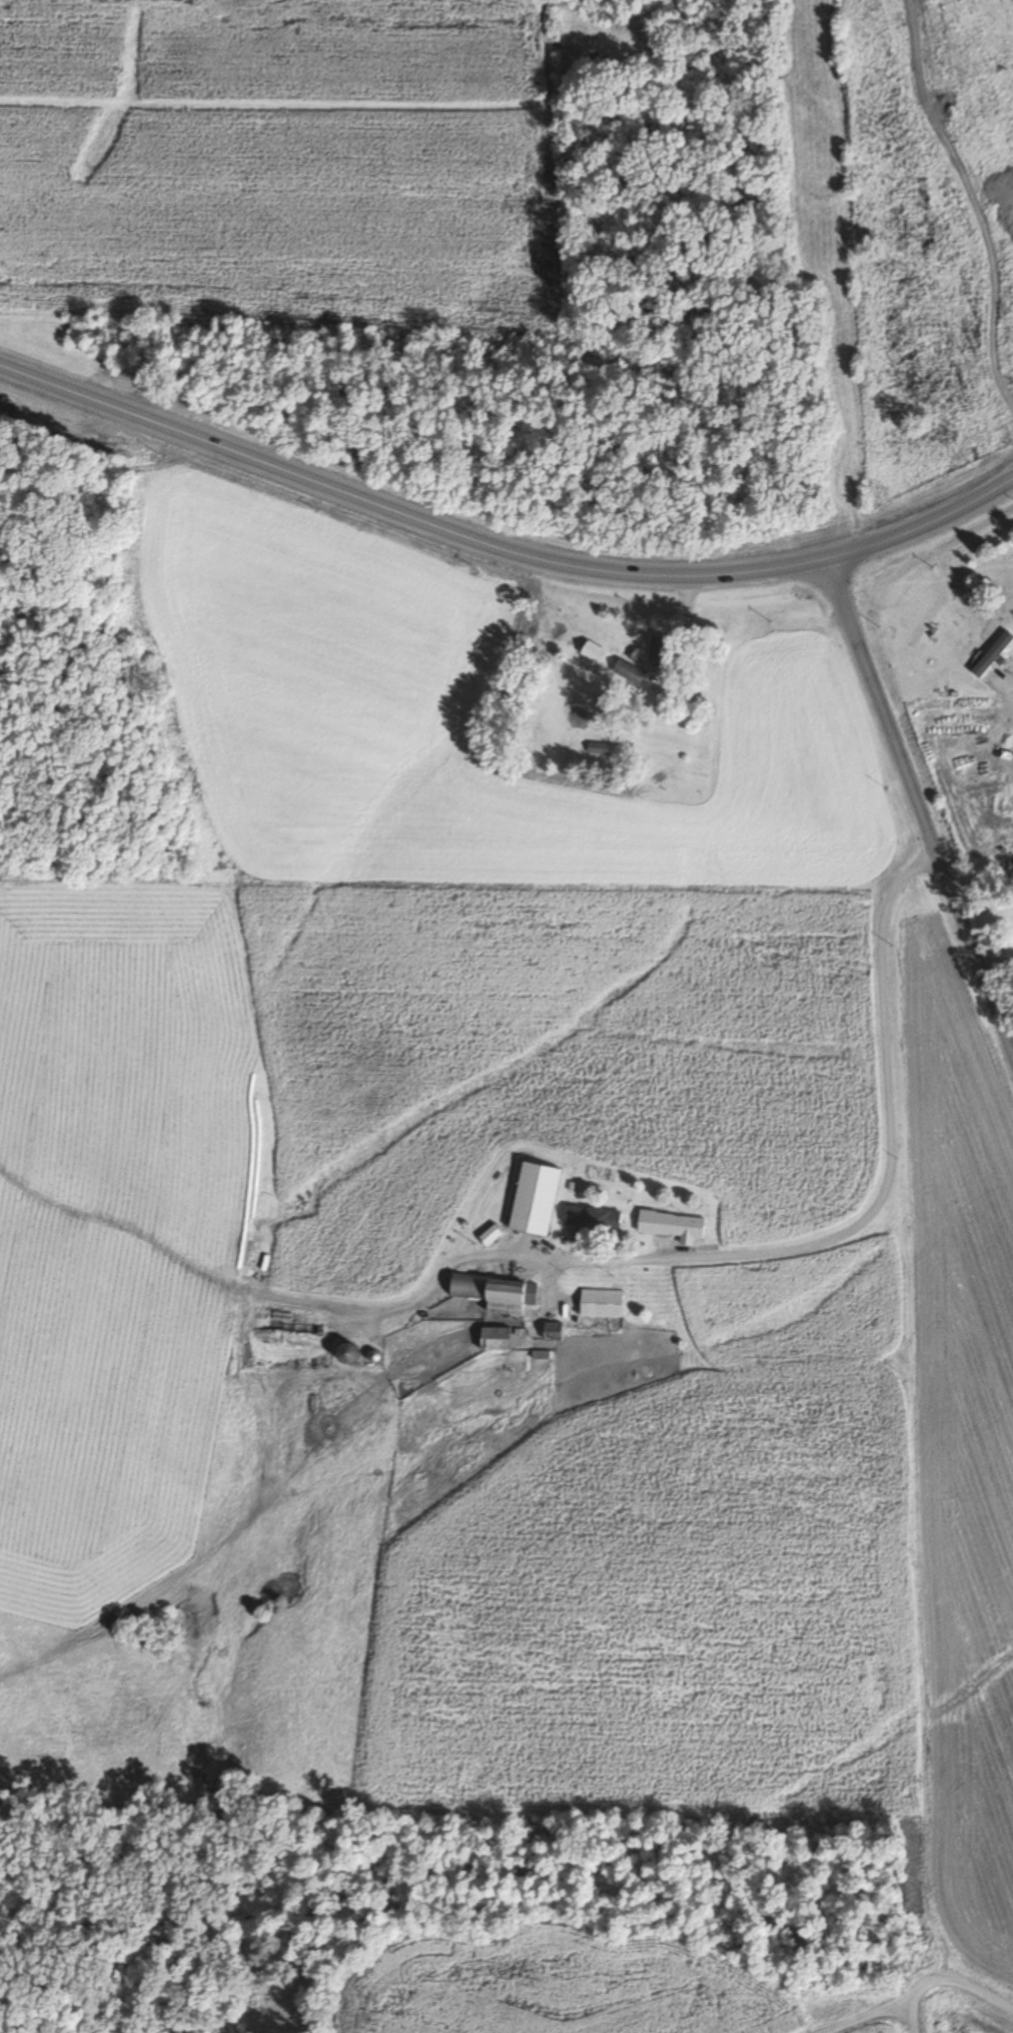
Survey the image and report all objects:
road: (502, 545)
building: (1002, 601)
building: (592, 651)
building: (627, 671)
building: (598, 747)
road: (917, 812)
road: (889, 1147)
building: (533, 1199)
building: (591, 1218)
building: (669, 1224)
building: (489, 1235)
road: (444, 1262)
building: (492, 1293)
building: (601, 1301)
building: (549, 1329)
building: (491, 1338)
building: (342, 1354)
road: (935, 1972)
road: (845, 2013)

